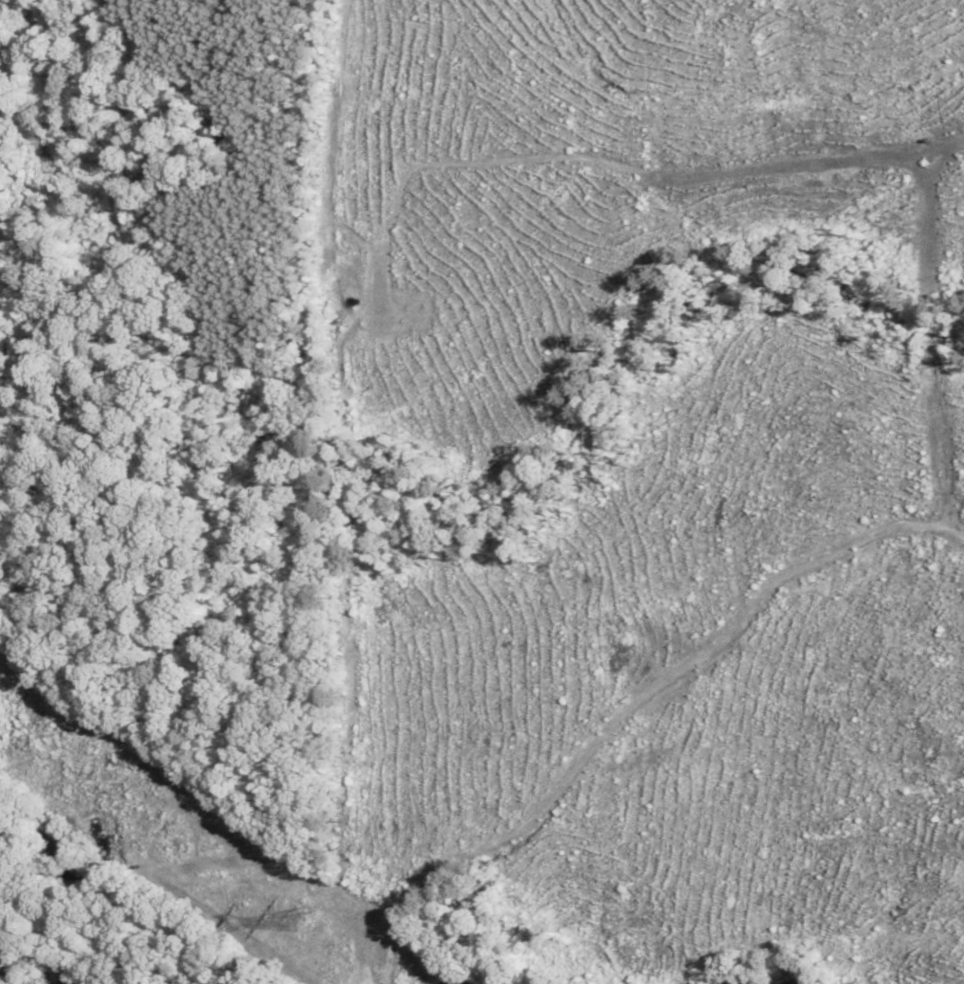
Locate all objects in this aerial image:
power tower: (298, 919)

